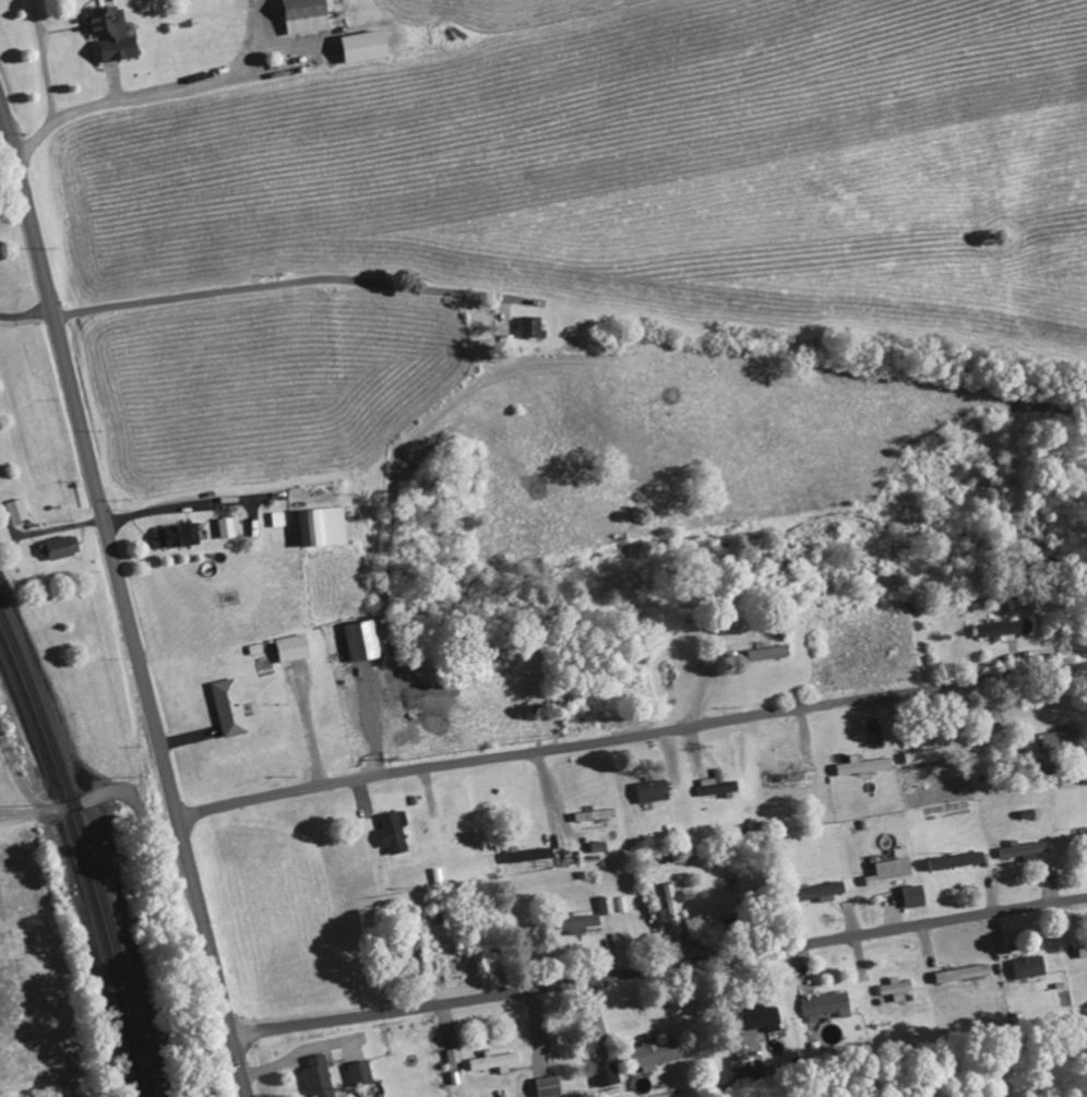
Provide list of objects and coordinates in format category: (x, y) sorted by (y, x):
building: (309, 16)
building: (117, 36)
building: (369, 47)
road: (287, 283)
building: (530, 326)
building: (19, 510)
building: (324, 526)
building: (227, 527)
building: (181, 535)
building: (61, 547)
road: (124, 595)
building: (1006, 628)
building: (362, 640)
building: (295, 647)
building: (769, 653)
building: (230, 707)
road: (633, 737)
building: (1063, 740)
building: (929, 754)
building: (865, 765)
building: (715, 784)
building: (656, 790)
road: (99, 795)
building: (597, 814)
building: (396, 832)
building: (1076, 840)
building: (598, 847)
railway: (88, 848)
building: (1026, 850)
building: (533, 855)
building: (958, 860)
railway: (83, 862)
building: (892, 871)
building: (826, 892)
building: (917, 895)
building: (607, 905)
building: (671, 907)
building: (584, 922)
road: (660, 968)
building: (964, 973)
building: (898, 988)
building: (828, 1005)
building: (766, 1017)
building: (657, 1051)
building: (497, 1062)
building: (740, 1065)
building: (362, 1073)
building: (608, 1073)
building: (320, 1077)
building: (550, 1086)

